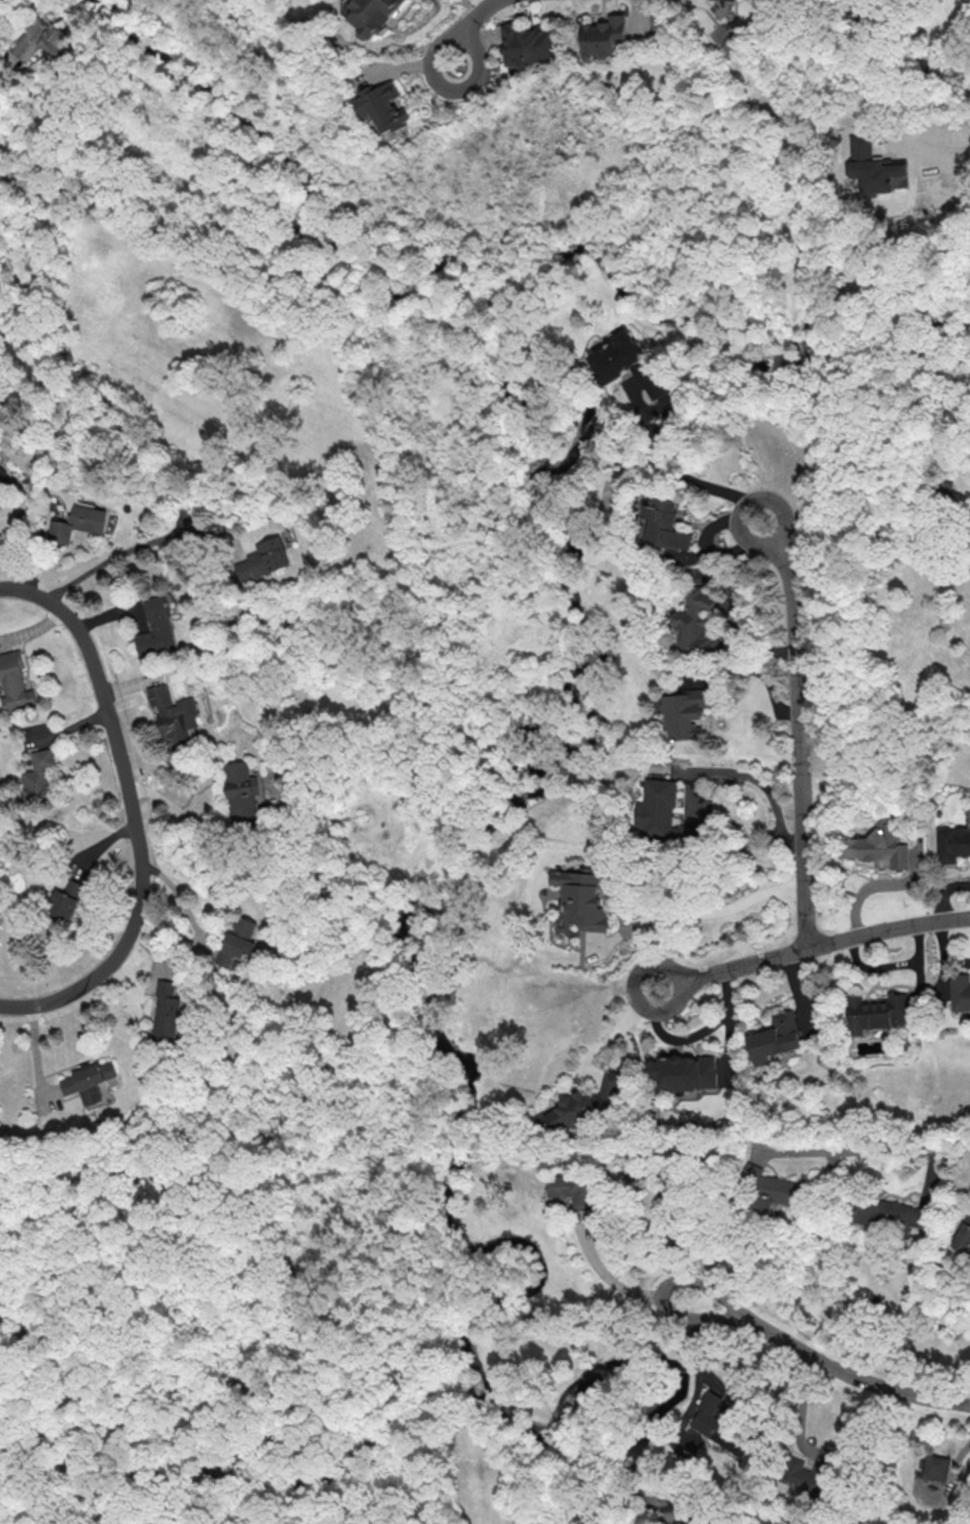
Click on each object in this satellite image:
road: (969, 0)
building: (376, 16)
road: (468, 27)
building: (41, 40)
building: (527, 43)
road: (8, 73)
building: (382, 106)
building: (875, 167)
building: (627, 363)
road: (682, 471)
building: (5, 482)
road: (329, 492)
building: (80, 523)
building: (667, 524)
road: (117, 558)
building: (261, 559)
building: (696, 622)
building: (157, 628)
building: (15, 682)
building: (686, 713)
building: (174, 716)
road: (796, 729)
building: (38, 777)
road: (761, 786)
building: (242, 792)
road: (176, 808)
road: (130, 811)
building: (662, 814)
building: (357, 817)
road: (294, 825)
building: (951, 843)
road: (876, 885)
road: (942, 891)
building: (66, 900)
building: (583, 900)
road: (187, 909)
road: (690, 915)
building: (238, 941)
road: (812, 944)
river: (405, 947)
building: (960, 994)
building: (165, 1010)
building: (877, 1012)
road: (619, 1027)
building: (774, 1037)
building: (683, 1072)
building: (88, 1081)
building: (586, 1103)
road: (867, 1151)
building: (770, 1188)
building: (570, 1189)
building: (649, 1196)
building: (889, 1213)
building: (964, 1234)
road: (623, 1287)
road: (423, 1352)
road: (826, 1363)
road: (220, 1415)
building: (718, 1425)
road: (418, 1441)
building: (935, 1467)
building: (806, 1470)

